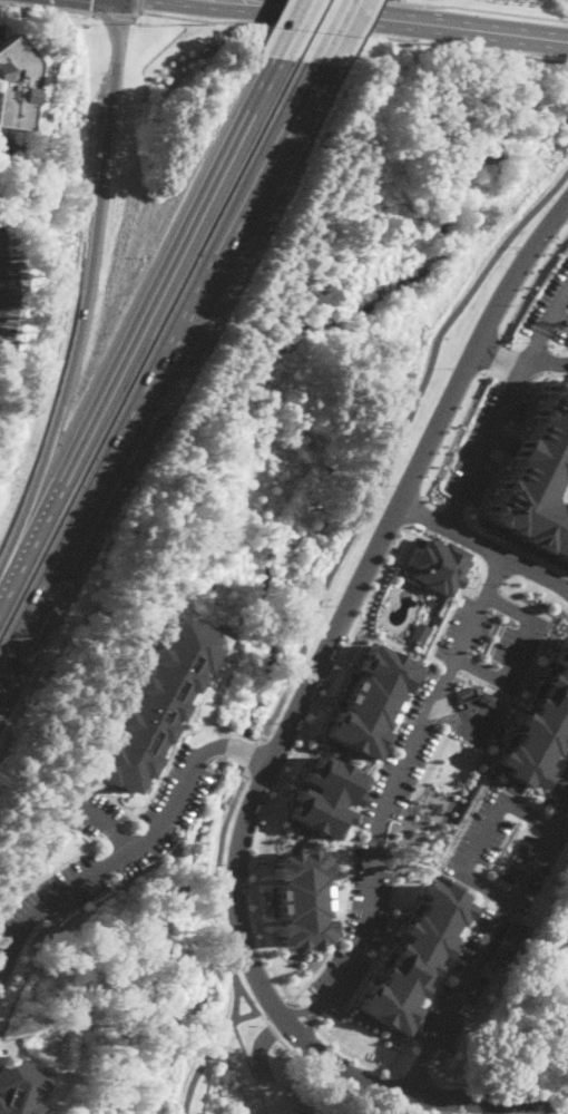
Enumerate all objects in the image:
road: (139, 6)
road: (47, 8)
road: (479, 8)
road: (114, 14)
road: (409, 19)
parking lot: (2, 20)
road: (295, 29)
road: (342, 32)
road: (350, 33)
building: (16, 84)
road: (7, 146)
parking lot: (11, 152)
road: (531, 281)
parking lot: (8, 296)
road: (85, 299)
road: (140, 328)
road: (492, 353)
road: (500, 355)
road: (546, 363)
road: (168, 379)
road: (505, 408)
road: (451, 433)
road: (396, 442)
building: (537, 476)
park: (325, 508)
road: (414, 511)
road: (483, 545)
building: (435, 566)
road: (486, 589)
road: (526, 603)
building: (418, 633)
road: (517, 652)
building: (486, 697)
building: (368, 700)
building: (150, 706)
building: (540, 724)
road: (283, 737)
road: (241, 752)
road: (253, 758)
road: (290, 760)
road: (261, 762)
road: (552, 779)
road: (365, 782)
road: (389, 793)
building: (321, 797)
road: (379, 810)
road: (532, 815)
road: (105, 821)
road: (483, 834)
road: (511, 852)
road: (112, 861)
road: (489, 889)
road: (217, 897)
building: (297, 900)
building: (507, 946)
road: (484, 947)
building: (412, 960)
road: (441, 976)
road: (246, 995)
road: (278, 1009)
road: (246, 1015)
road: (304, 1016)
road: (352, 1055)
road: (203, 1063)
road: (262, 1064)
park: (236, 1076)
road: (415, 1077)
road: (325, 1079)
road: (500, 1082)
building: (17, 1088)
parking lot: (280, 1101)

